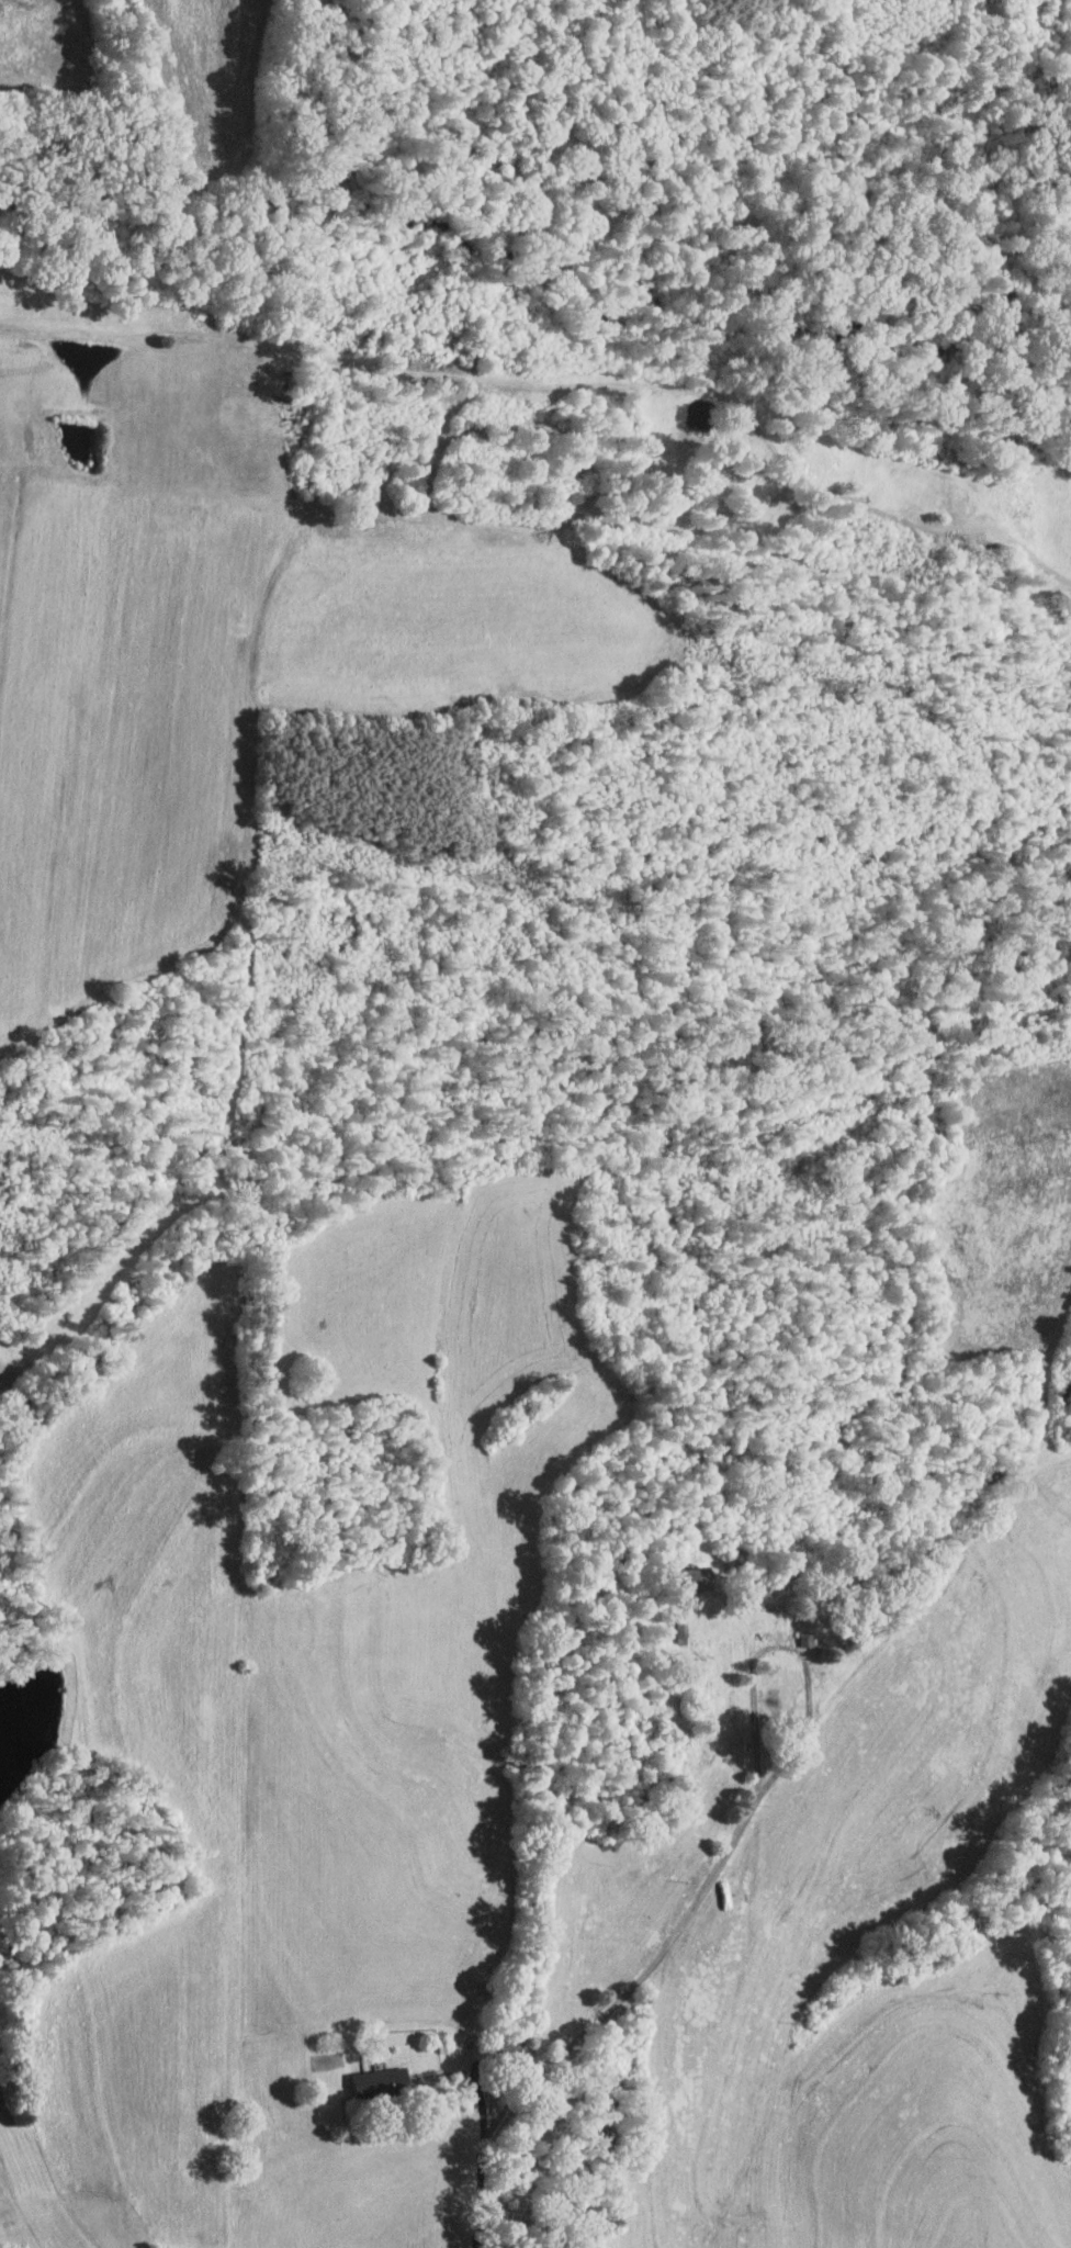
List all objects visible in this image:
building: (697, 1580)
road: (783, 1644)
building: (782, 1693)
road: (600, 2016)
building: (381, 2080)
road: (481, 2095)

